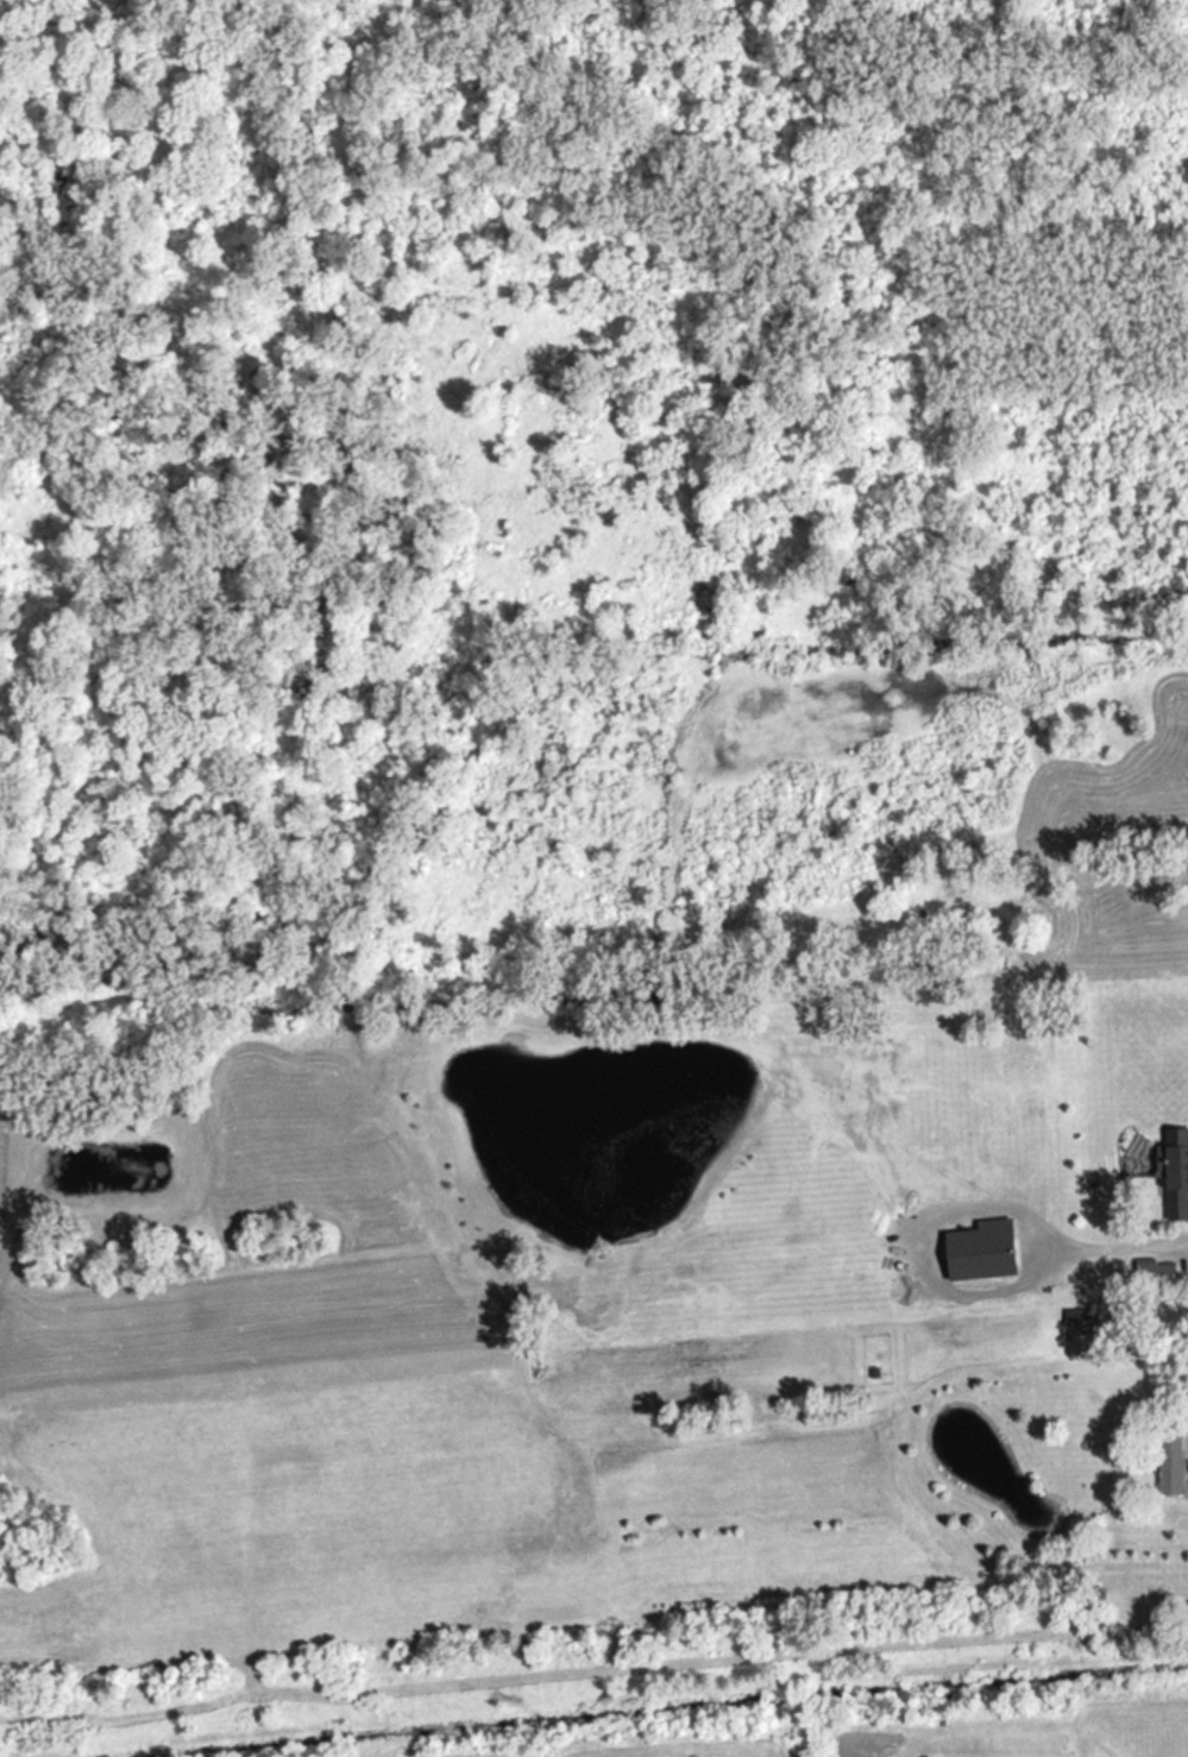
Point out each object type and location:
building: (1177, 1173)
road: (1186, 1240)
building: (985, 1253)
building: (1076, 1320)
building: (1174, 1465)

